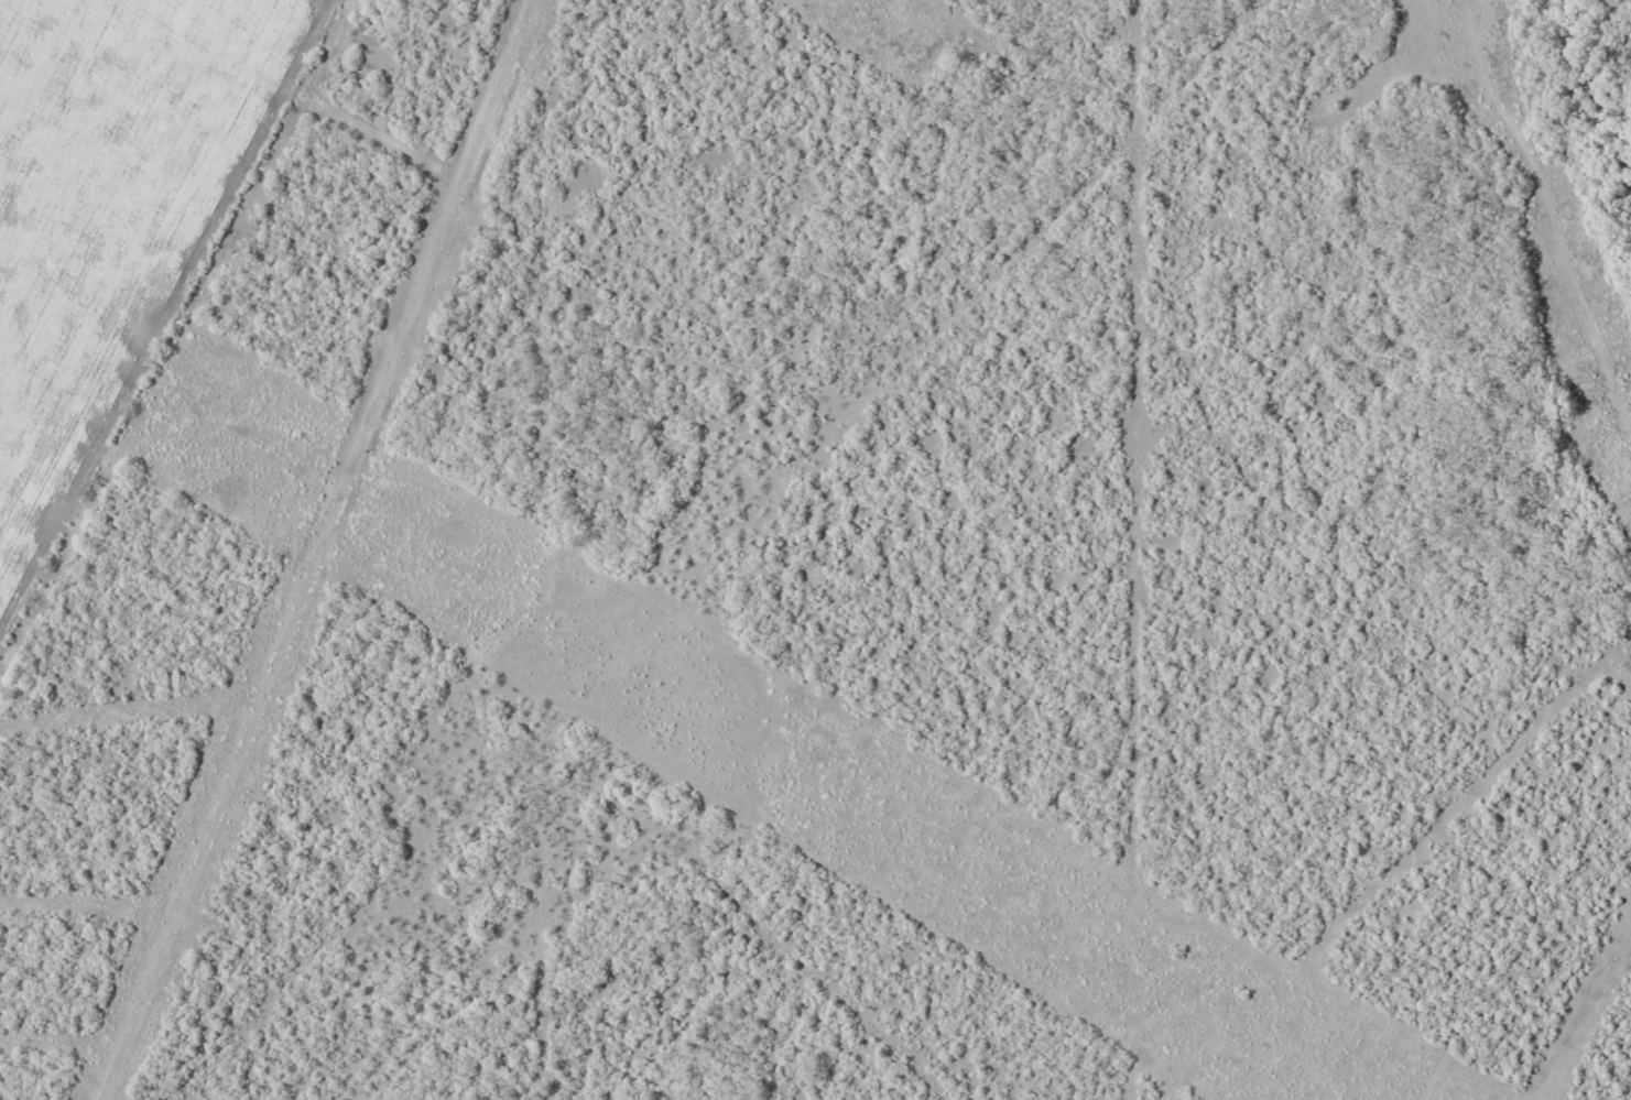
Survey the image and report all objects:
road: (331, 545)

